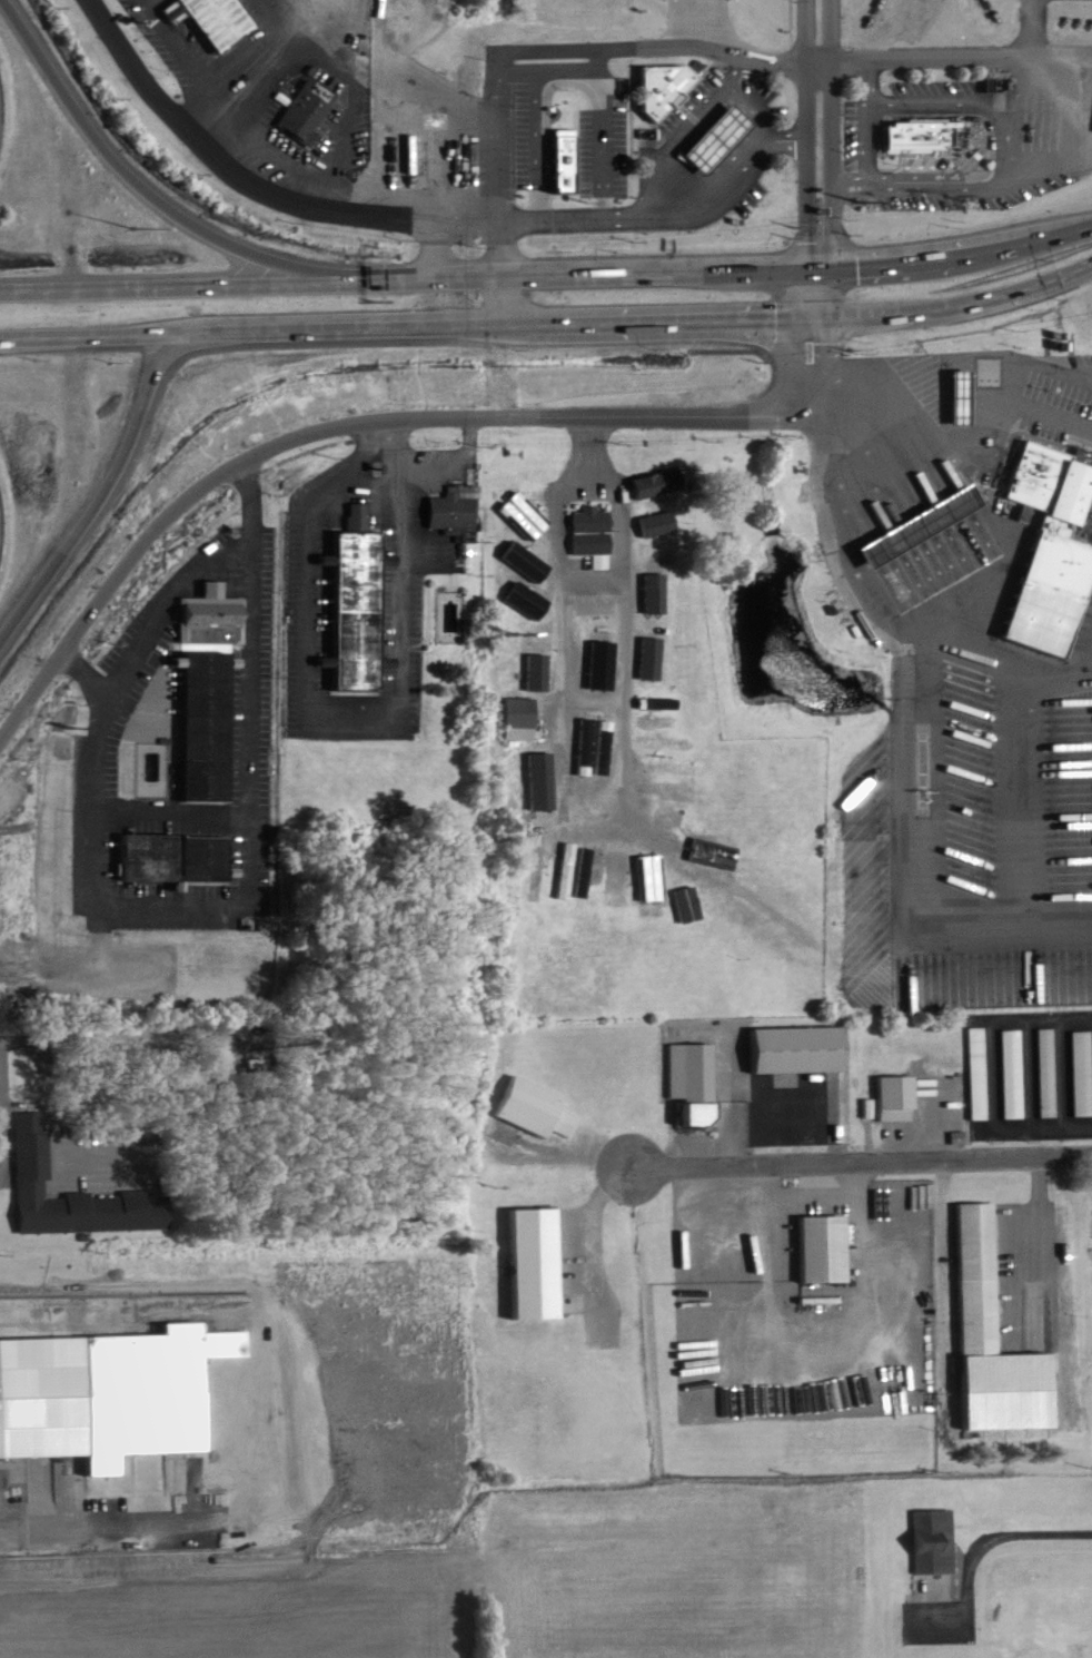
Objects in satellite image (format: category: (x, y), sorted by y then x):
building: (224, 20)
road: (1031, 28)
building: (664, 78)
building: (302, 100)
road: (1062, 110)
building: (914, 125)
gas station: (714, 127)
road: (804, 137)
building: (724, 138)
road: (831, 139)
building: (570, 159)
road: (254, 185)
road: (148, 195)
road: (679, 215)
road: (502, 250)
road: (436, 253)
road: (548, 278)
road: (505, 299)
road: (549, 319)
road: (812, 337)
gas station: (959, 389)
road: (782, 411)
road: (308, 433)
building: (664, 482)
road: (102, 493)
road: (252, 499)
building: (460, 511)
building: (529, 514)
gas station: (917, 516)
building: (663, 523)
building: (926, 525)
building: (596, 534)
building: (1050, 536)
building: (530, 561)
building: (654, 574)
building: (533, 600)
building: (364, 603)
building: (602, 603)
building: (339, 609)
building: (217, 615)
building: (656, 657)
building: (606, 658)
building: (542, 671)
building: (666, 702)
building: (525, 717)
building: (662, 720)
building: (212, 726)
building: (674, 743)
building: (685, 767)
building: (546, 780)
building: (681, 790)
building: (675, 816)
building: (181, 857)
building: (622, 876)
building: (746, 891)
road: (181, 912)
building: (802, 1048)
road: (39, 1050)
building: (981, 1072)
building: (1050, 1072)
building: (1083, 1072)
building: (1015, 1073)
building: (698, 1079)
building: (902, 1097)
building: (542, 1108)
road: (863, 1165)
building: (79, 1193)
building: (830, 1247)
building: (542, 1263)
building: (1000, 1341)
building: (47, 1397)
road: (999, 1433)
road: (33, 1529)
building: (939, 1540)
road: (979, 1553)

